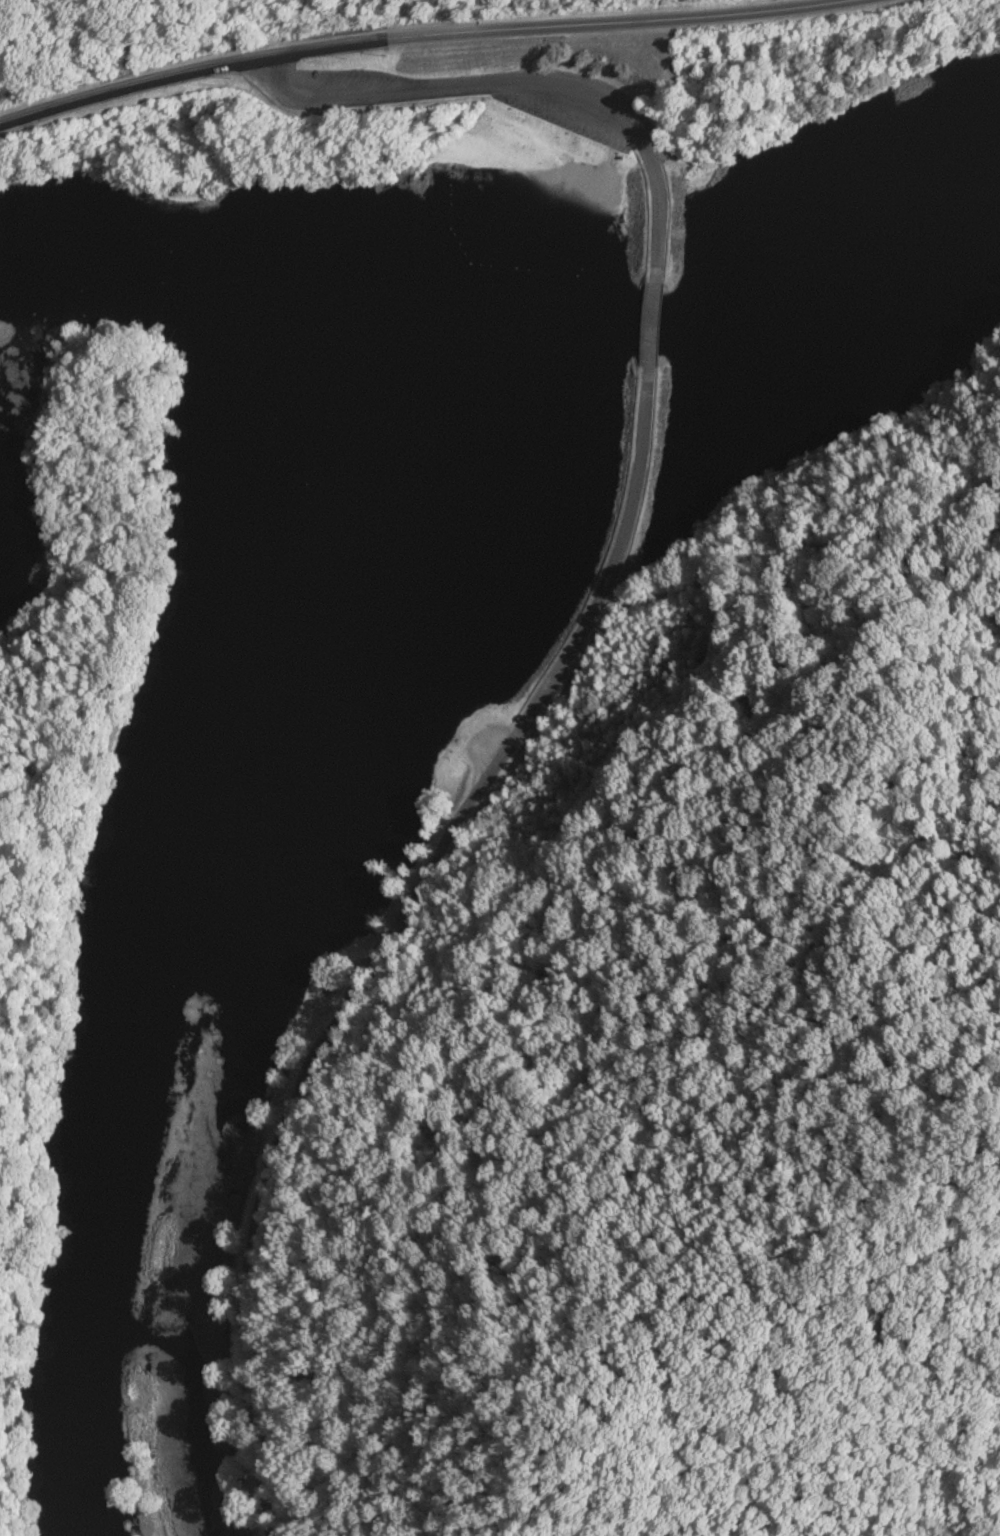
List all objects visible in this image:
road: (418, 34)
road: (522, 81)
road: (651, 324)
river: (252, 749)
road: (385, 940)

